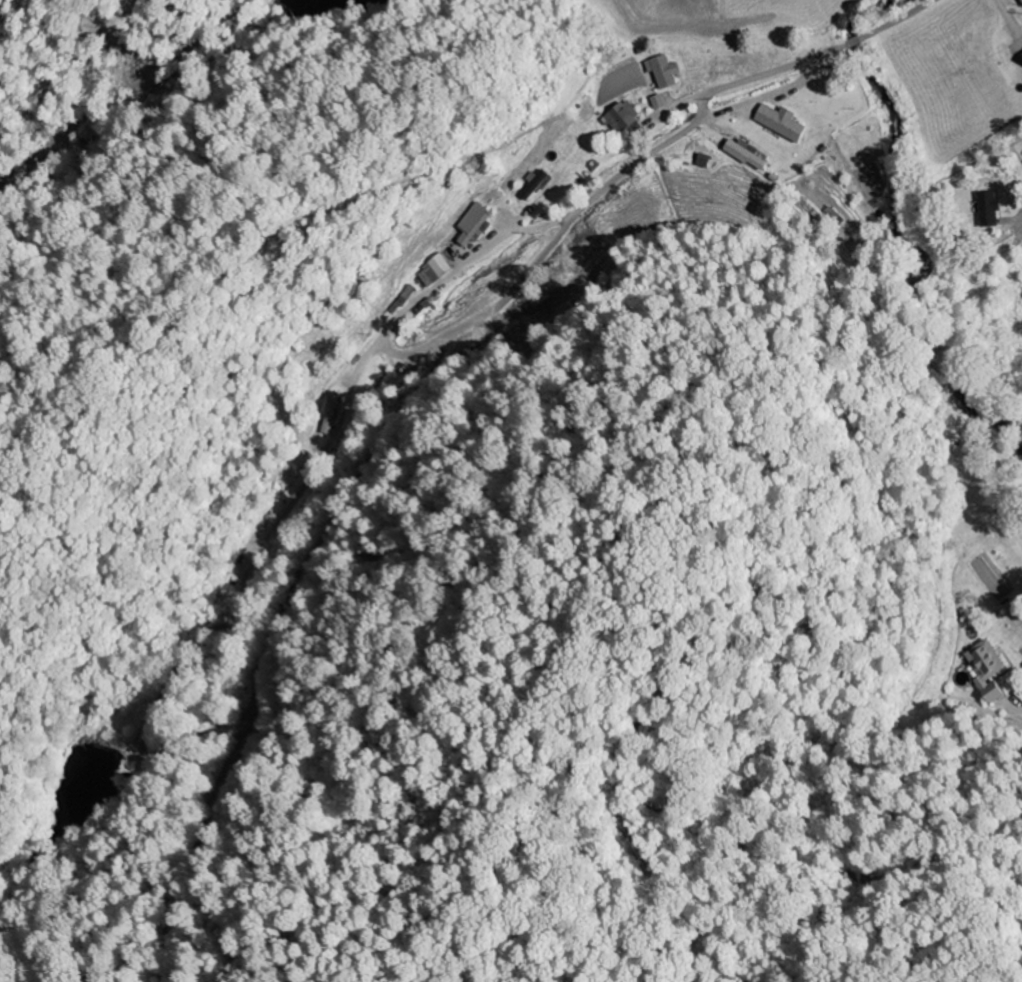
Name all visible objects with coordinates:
road: (885, 28)
building: (1020, 60)
building: (667, 72)
river: (884, 104)
building: (624, 118)
building: (784, 123)
building: (749, 155)
building: (537, 185)
building: (984, 209)
building: (477, 224)
road: (1021, 229)
building: (435, 272)
building: (985, 670)

